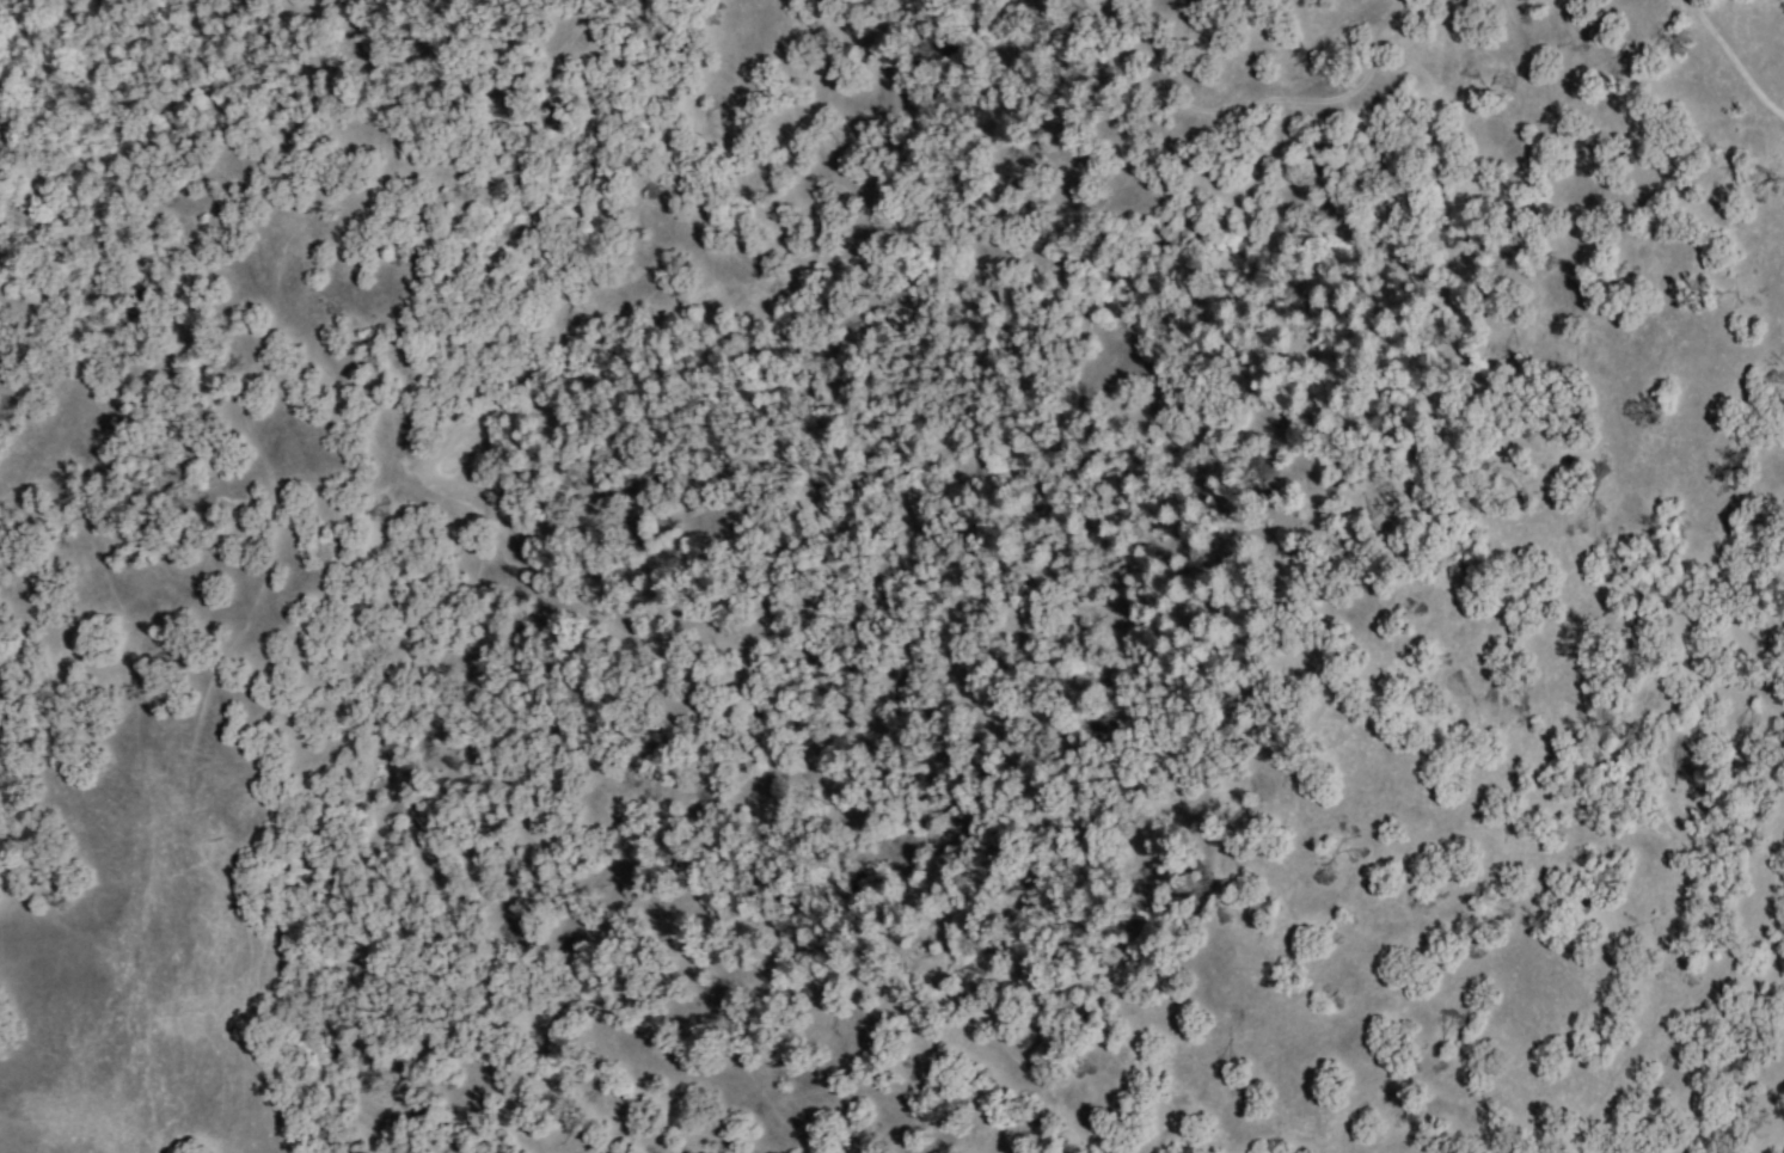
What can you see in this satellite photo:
road: (1730, 63)

